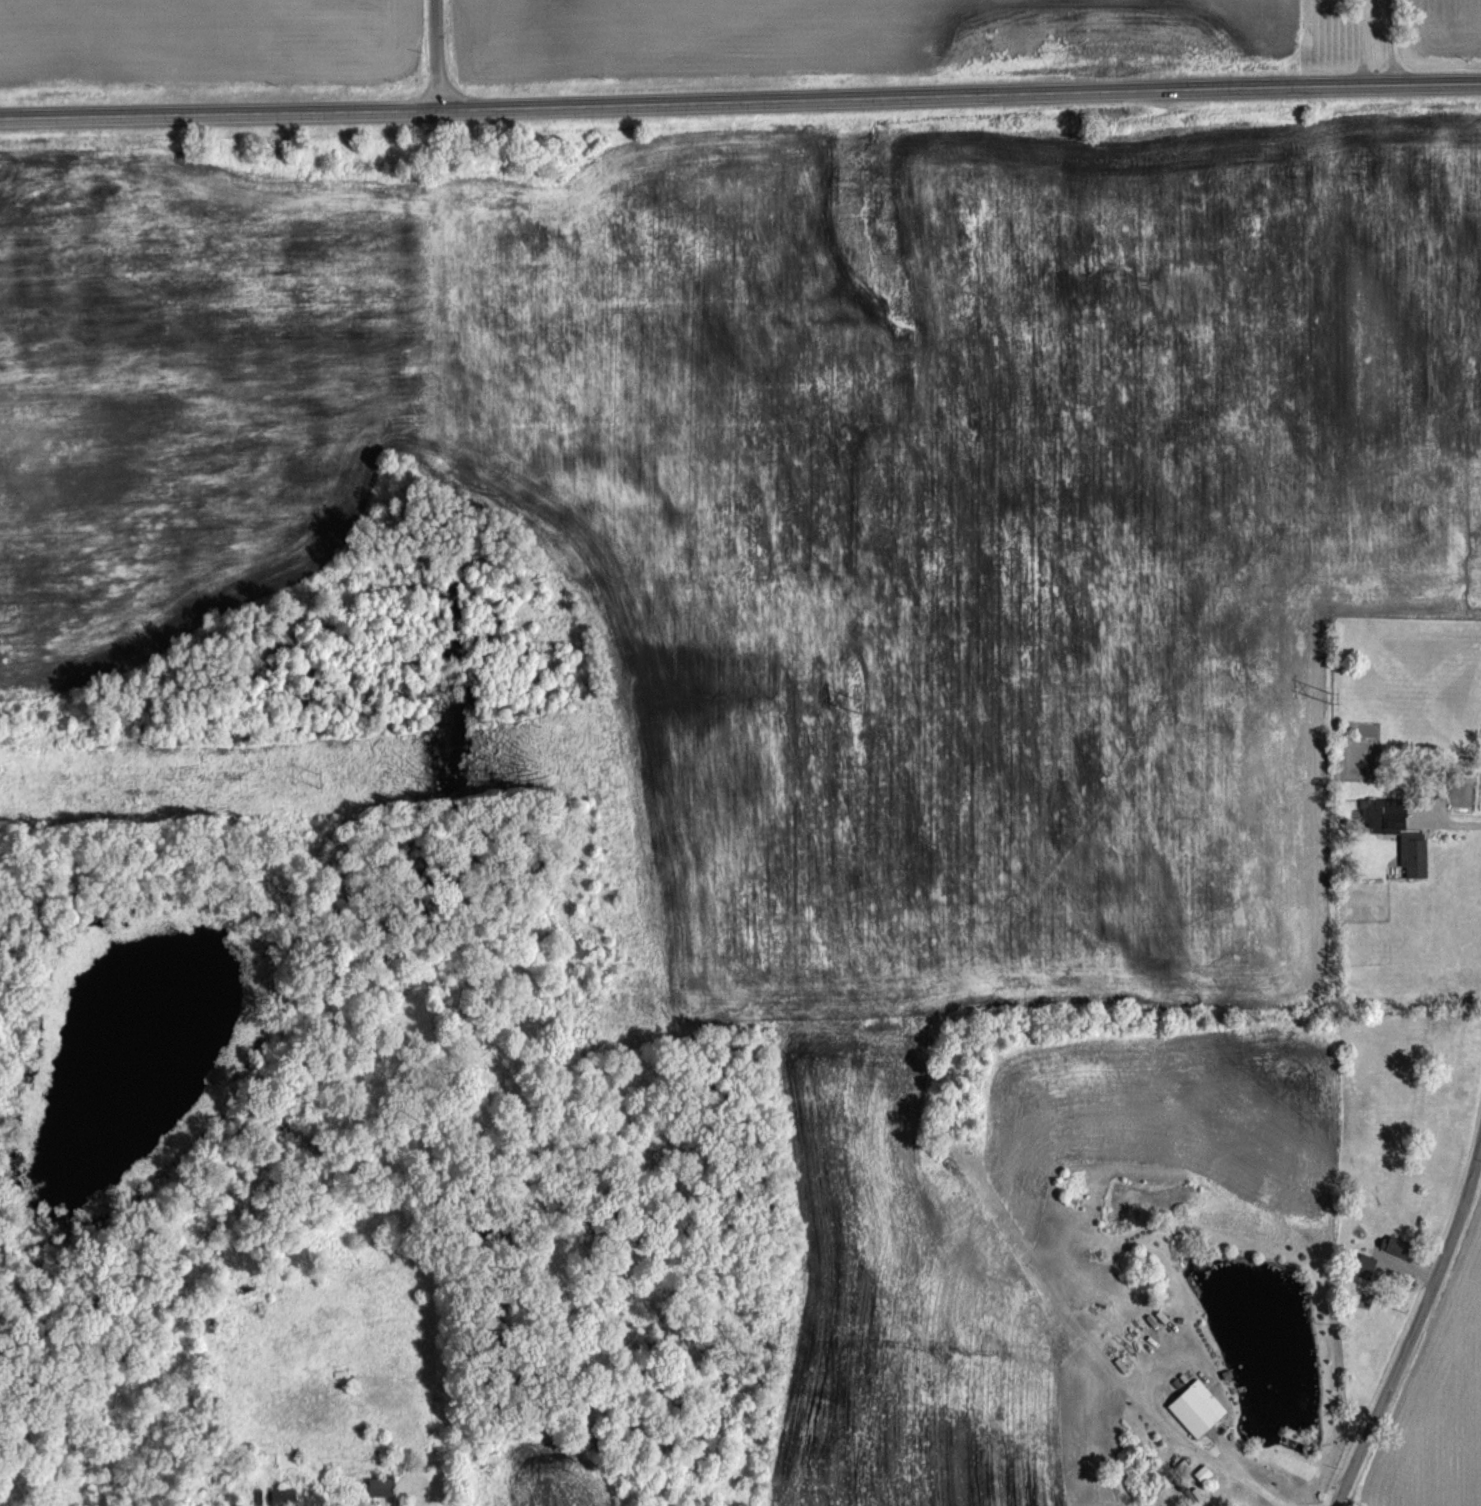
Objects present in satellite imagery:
road: (1360, 42)
road: (1388, 42)
road: (436, 53)
road: (740, 99)
building: (1413, 855)
building: (1397, 1247)
building: (1364, 1269)
road: (1414, 1331)
building: (1197, 1408)
road: (1248, 1477)
building: (381, 1487)
building: (284, 1497)

